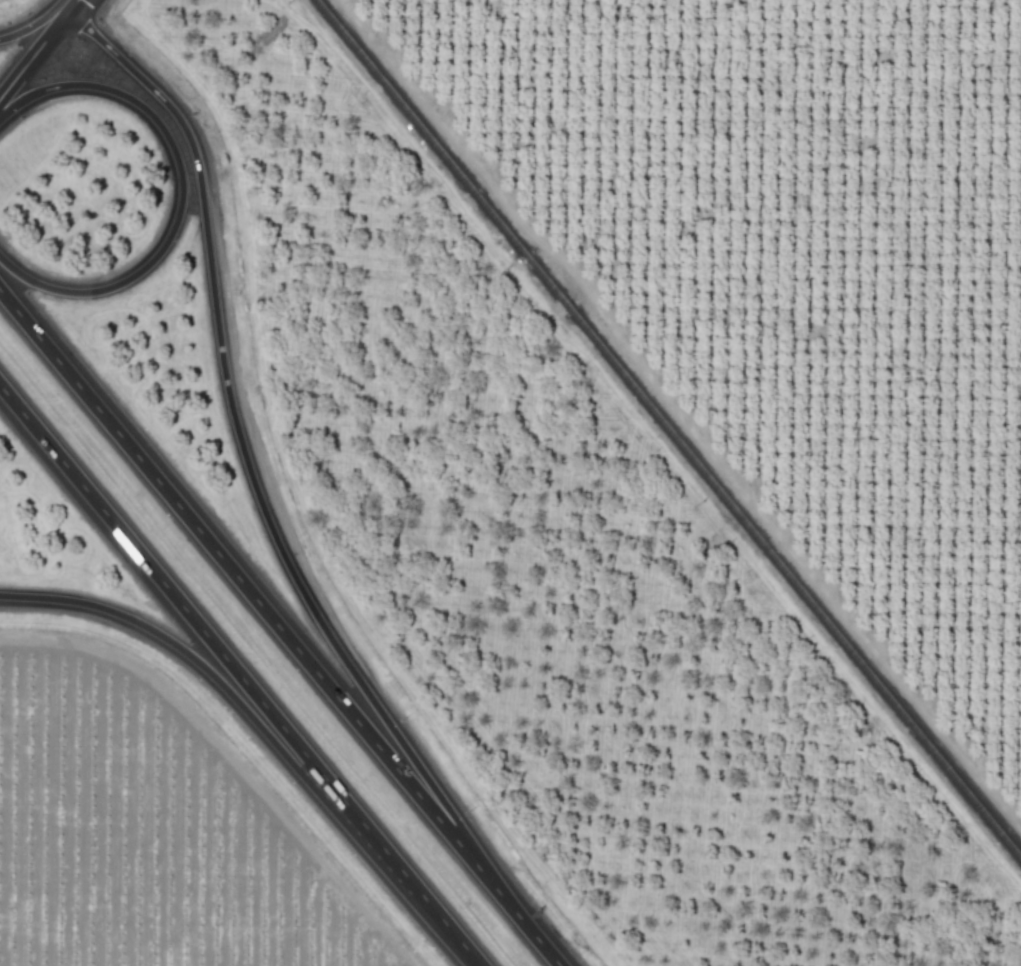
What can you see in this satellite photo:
road: (73, 5)
road: (32, 23)
road: (34, 55)
road: (181, 190)
railway: (669, 429)
road: (248, 468)
road: (254, 599)
road: (200, 629)
road: (225, 689)
road: (439, 918)
road: (533, 936)

